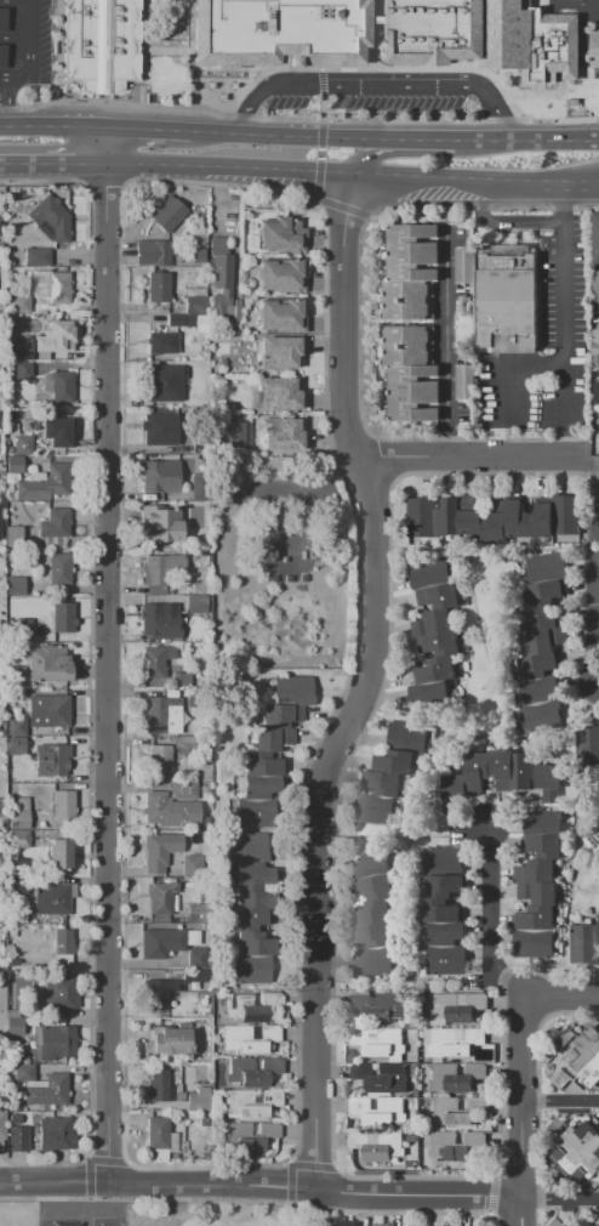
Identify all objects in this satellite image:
road: (12, 0)
road: (574, 2)
road: (370, 12)
building: (1, 18)
road: (189, 29)
building: (432, 30)
building: (276, 32)
road: (12, 36)
building: (530, 40)
parking lot: (24, 41)
road: (141, 41)
building: (99, 44)
road: (369, 46)
road: (24, 49)
building: (594, 49)
road: (164, 50)
building: (1, 55)
road: (224, 67)
road: (407, 68)
road: (509, 70)
road: (320, 80)
road: (375, 85)
road: (243, 87)
road: (578, 89)
road: (541, 93)
road: (139, 95)
road: (4, 98)
parking lot: (369, 102)
road: (321, 107)
road: (297, 119)
road: (29, 125)
road: (82, 125)
road: (149, 126)
road: (290, 132)
road: (320, 134)
road: (526, 134)
road: (422, 135)
road: (319, 154)
road: (367, 155)
road: (53, 165)
road: (227, 168)
road: (472, 177)
road: (103, 178)
road: (316, 180)
road: (41, 181)
road: (221, 185)
road: (483, 206)
road: (342, 208)
flagpole: (521, 211)
building: (166, 212)
building: (49, 220)
road: (503, 221)
building: (281, 235)
building: (595, 237)
building: (413, 251)
building: (153, 252)
building: (196, 255)
road: (79, 256)
building: (39, 257)
road: (563, 263)
building: (463, 266)
building: (281, 276)
building: (223, 280)
building: (159, 285)
building: (595, 289)
building: (42, 293)
building: (507, 299)
building: (195, 300)
building: (407, 300)
building: (283, 314)
building: (181, 320)
building: (57, 336)
building: (161, 342)
road: (446, 342)
building: (407, 346)
building: (19, 350)
building: (595, 350)
building: (280, 352)
road: (69, 356)
road: (69, 365)
road: (509, 369)
building: (22, 370)
building: (160, 376)
building: (463, 382)
building: (63, 387)
road: (564, 388)
building: (279, 393)
building: (413, 393)
building: (595, 393)
building: (154, 430)
building: (58, 431)
building: (232, 435)
building: (286, 435)
building: (22, 444)
road: (69, 450)
road: (478, 458)
road: (64, 461)
building: (15, 465)
building: (159, 477)
building: (47, 483)
building: (200, 487)
building: (466, 513)
building: (445, 515)
building: (565, 516)
building: (420, 518)
building: (520, 520)
building: (544, 520)
building: (160, 524)
building: (492, 526)
building: (53, 528)
building: (15, 539)
storage tank: (266, 554)
road: (485, 554)
building: (286, 557)
building: (59, 568)
building: (162, 568)
building: (546, 568)
building: (428, 573)
building: (16, 585)
road: (67, 589)
building: (546, 594)
building: (439, 597)
building: (196, 605)
building: (547, 617)
building: (59, 619)
building: (158, 621)
building: (434, 623)
road: (479, 638)
building: (546, 640)
building: (439, 645)
road: (108, 652)
road: (598, 653)
building: (153, 663)
building: (49, 664)
building: (538, 664)
building: (439, 670)
building: (182, 679)
road: (365, 685)
building: (540, 688)
building: (291, 689)
building: (434, 691)
building: (194, 698)
building: (50, 710)
building: (13, 713)
building: (283, 713)
building: (542, 714)
building: (161, 715)
road: (435, 717)
building: (17, 727)
road: (67, 731)
building: (273, 736)
building: (409, 737)
building: (183, 743)
building: (16, 745)
building: (587, 745)
building: (50, 760)
building: (159, 760)
building: (397, 762)
building: (258, 764)
building: (502, 770)
building: (475, 771)
building: (521, 771)
building: (547, 781)
building: (386, 784)
building: (182, 790)
building: (262, 791)
building: (453, 794)
building: (62, 805)
building: (169, 811)
building: (375, 811)
building: (18, 812)
building: (252, 813)
building: (542, 823)
building: (595, 828)
road: (405, 836)
building: (19, 839)
building: (247, 846)
building: (542, 846)
building: (160, 851)
building: (58, 853)
building: (372, 859)
building: (444, 861)
building: (190, 865)
building: (536, 870)
building: (253, 875)
road: (69, 880)
building: (371, 881)
building: (443, 885)
road: (586, 890)
building: (536, 893)
building: (44, 897)
building: (249, 897)
building: (161, 898)
building: (375, 908)
building: (440, 910)
building: (196, 913)
road: (569, 913)
building: (534, 919)
building: (250, 920)
road: (492, 920)
building: (598, 931)
building: (369, 932)
building: (445, 933)
building: (63, 943)
building: (160, 943)
building: (532, 944)
building: (257, 946)
building: (583, 946)
building: (196, 959)
building: (446, 959)
building: (371, 961)
building: (13, 963)
building: (251, 970)
building: (195, 977)
building: (59, 994)
building: (156, 994)
road: (561, 999)
building: (253, 1006)
building: (378, 1008)
building: (457, 1008)
road: (67, 1022)
building: (16, 1027)
building: (249, 1038)
building: (452, 1041)
building: (58, 1044)
building: (375, 1044)
building: (170, 1045)
building: (586, 1056)
road: (72, 1069)
building: (252, 1072)
building: (24, 1073)
building: (381, 1078)
building: (456, 1078)
building: (559, 1079)
building: (160, 1090)
building: (49, 1092)
building: (199, 1099)
road: (523, 1099)
road: (560, 1101)
building: (251, 1102)
building: (378, 1112)
building: (456, 1112)
building: (15, 1119)
building: (202, 1120)
building: (2, 1125)
building: (156, 1134)
building: (55, 1135)
building: (250, 1135)
building: (18, 1140)
building: (377, 1146)
building: (453, 1147)
building: (578, 1151)
road: (261, 1185)
road: (560, 1198)
road: (521, 1211)
building: (555, 1222)
building: (589, 1222)
building: (381, 1225)
building: (577, 1225)

